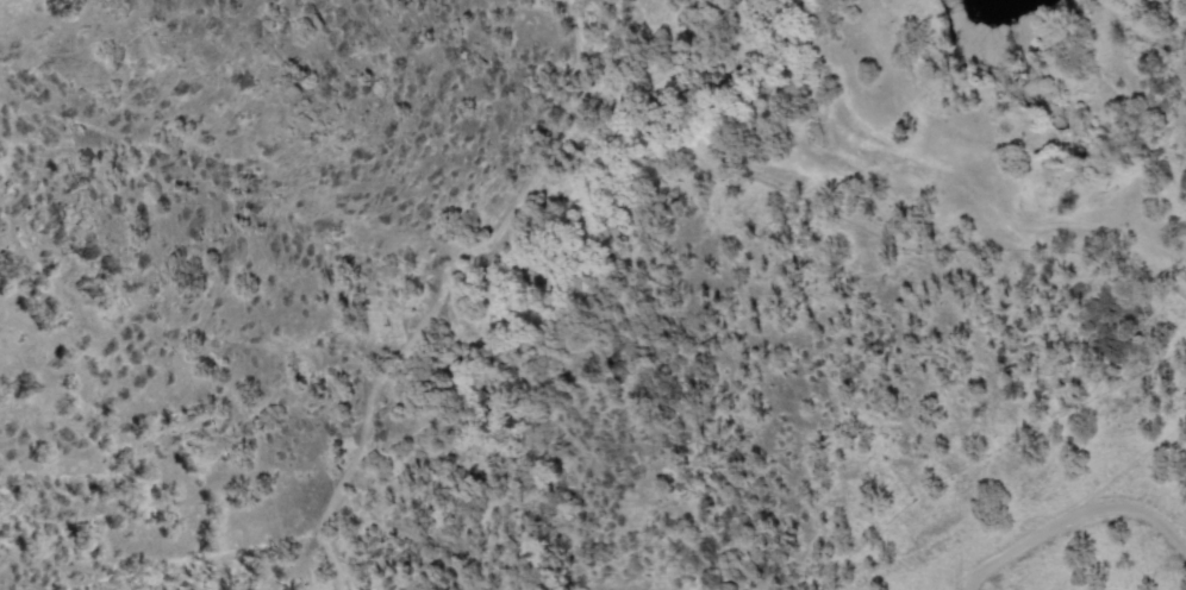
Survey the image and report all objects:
road: (1181, 548)

